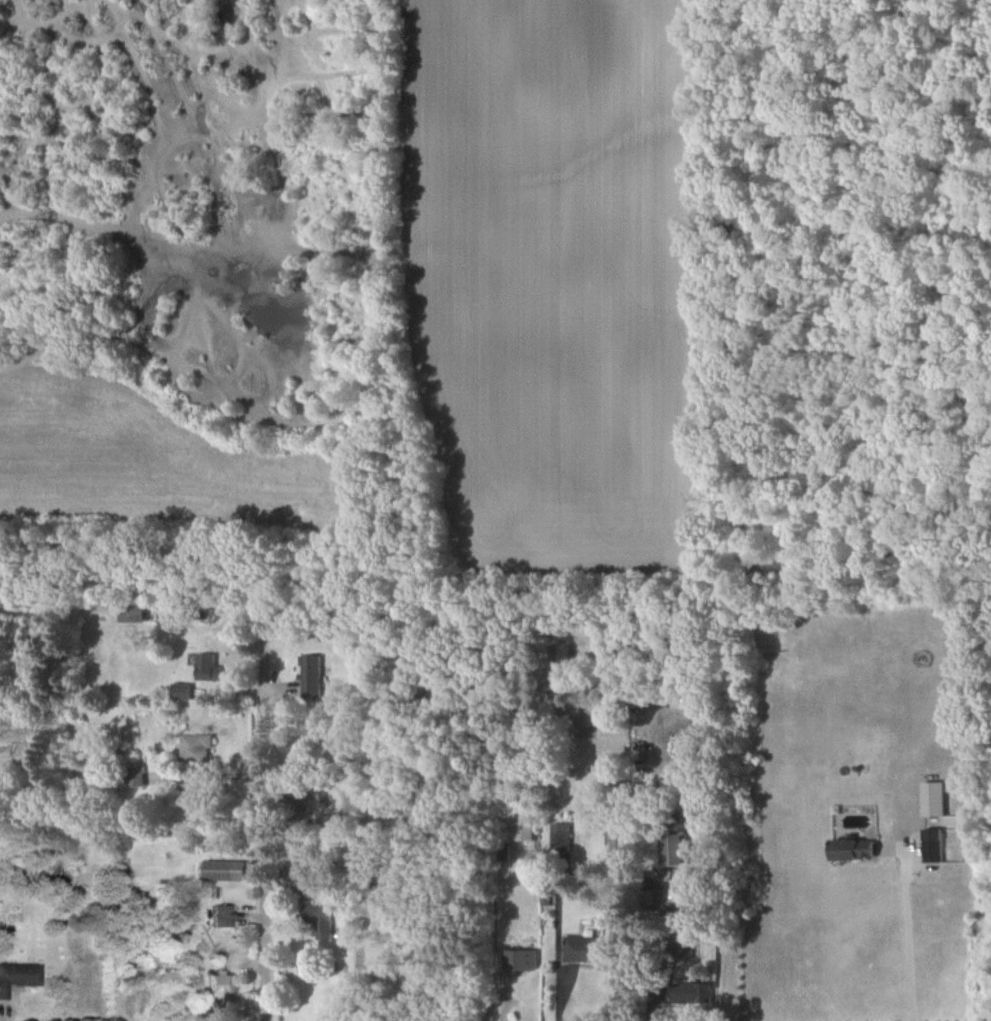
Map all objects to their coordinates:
building: (130, 611)
building: (206, 667)
building: (309, 675)
building: (180, 690)
building: (195, 748)
building: (134, 776)
building: (523, 825)
building: (559, 836)
road: (265, 848)
building: (851, 848)
building: (670, 849)
building: (931, 849)
building: (223, 869)
building: (317, 888)
building: (222, 916)
building: (315, 917)
road: (905, 932)
building: (590, 949)
building: (518, 959)
building: (18, 975)
building: (221, 986)
building: (691, 992)

